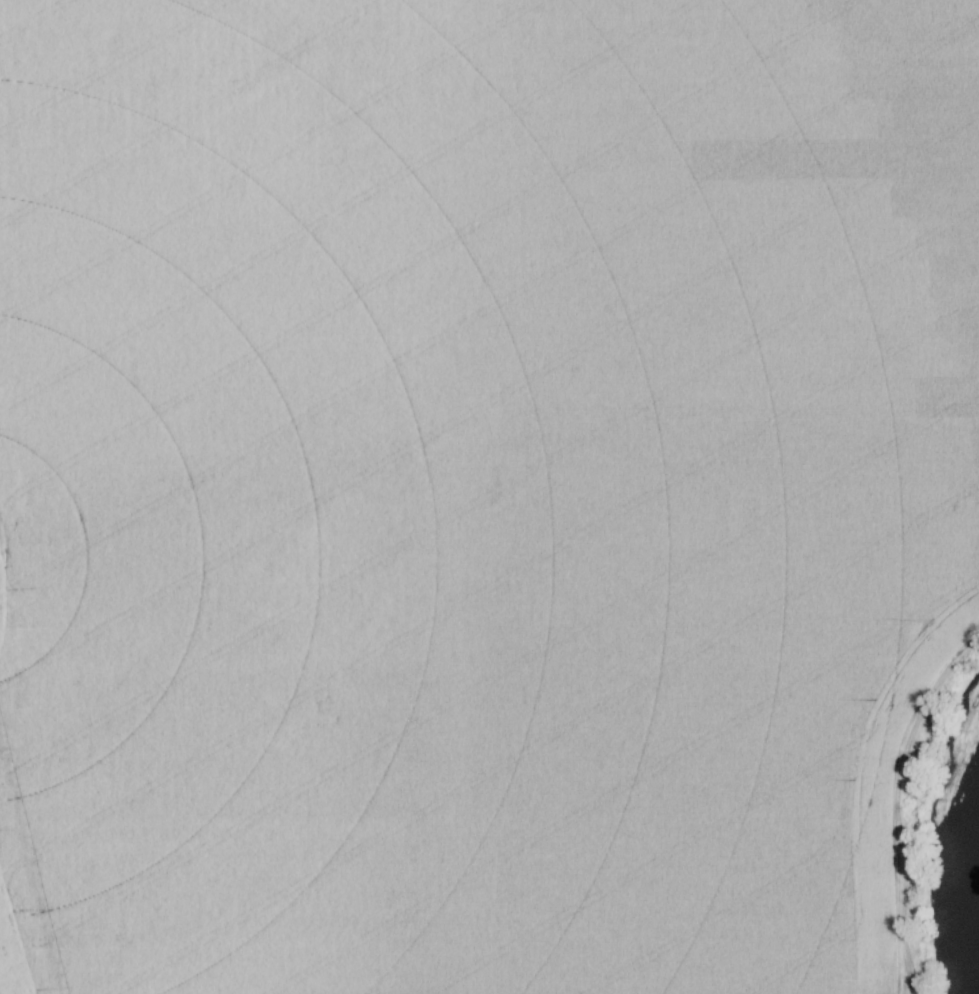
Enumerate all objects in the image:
river: (967, 948)

